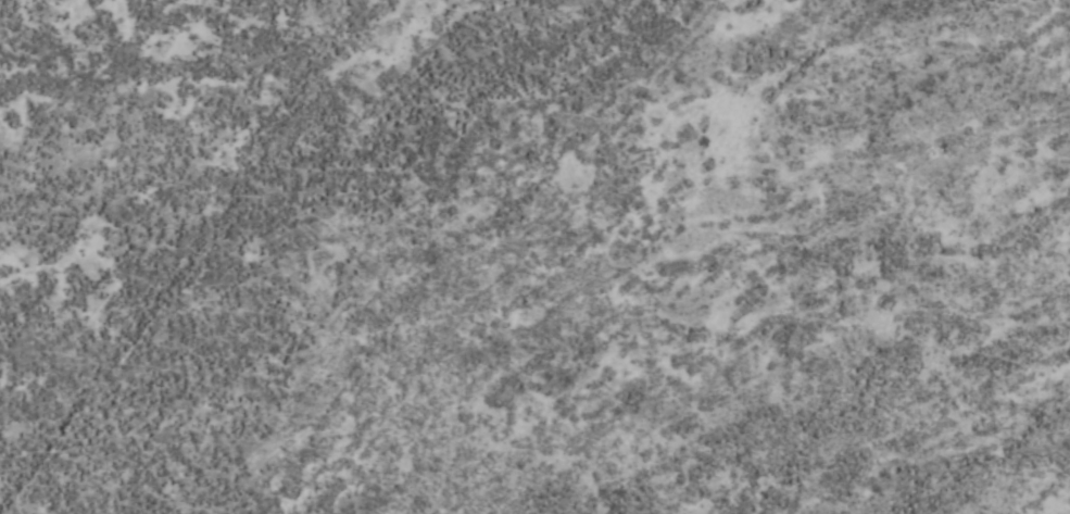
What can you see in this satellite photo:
crop: (534, 256)

